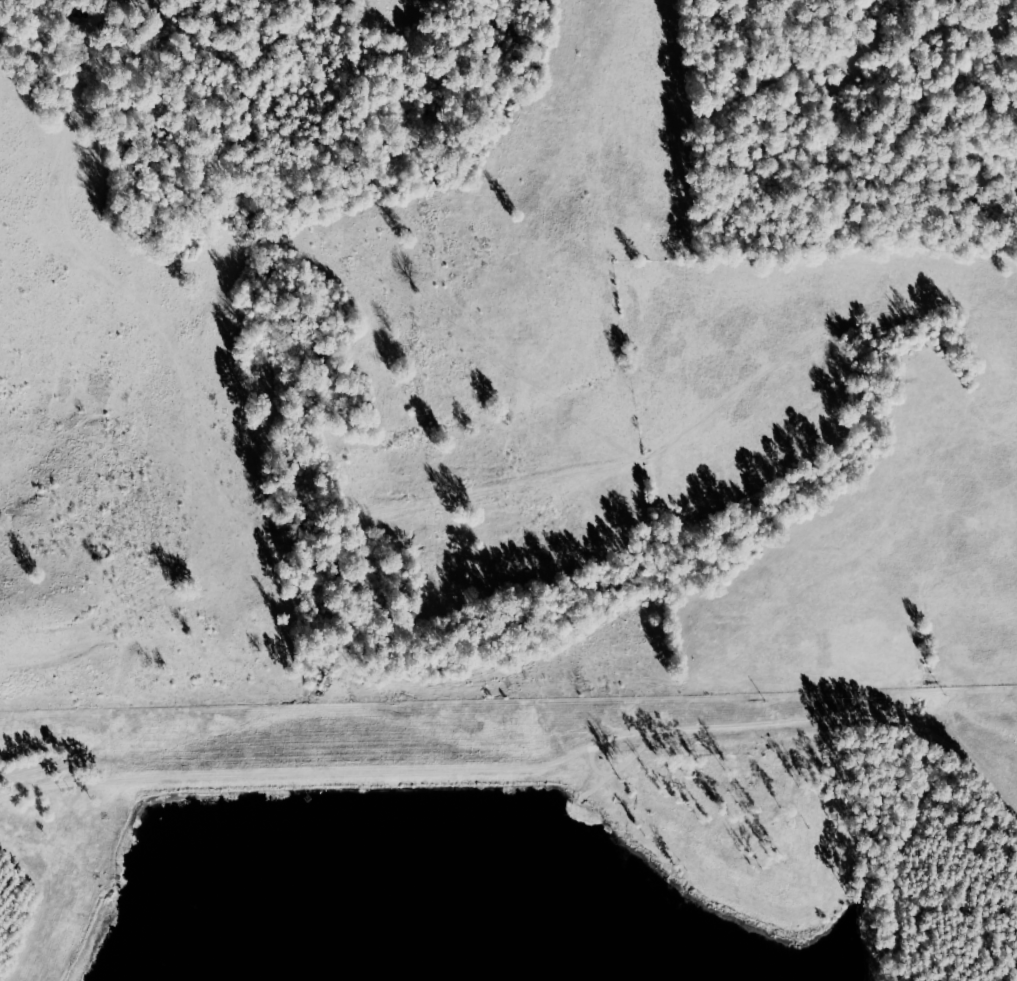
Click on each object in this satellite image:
road: (533, 769)

